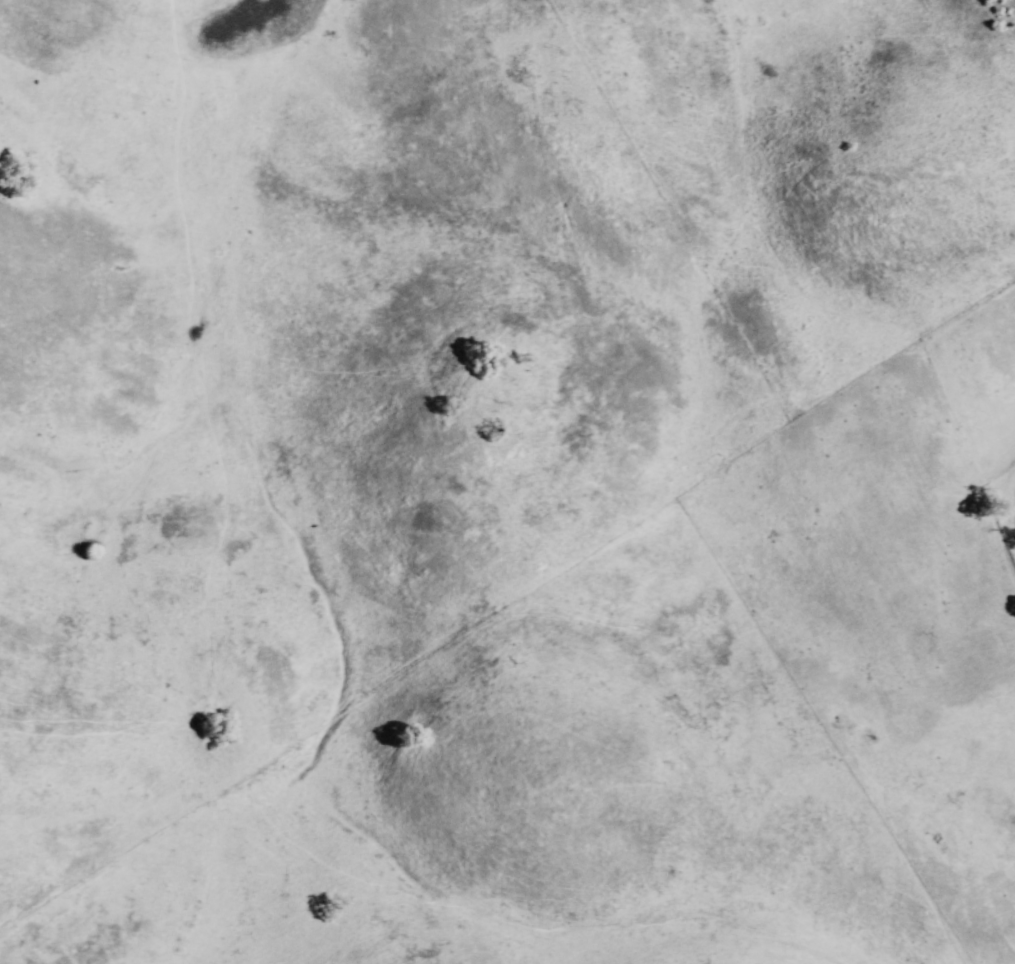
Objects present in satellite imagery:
road: (1000, 491)

